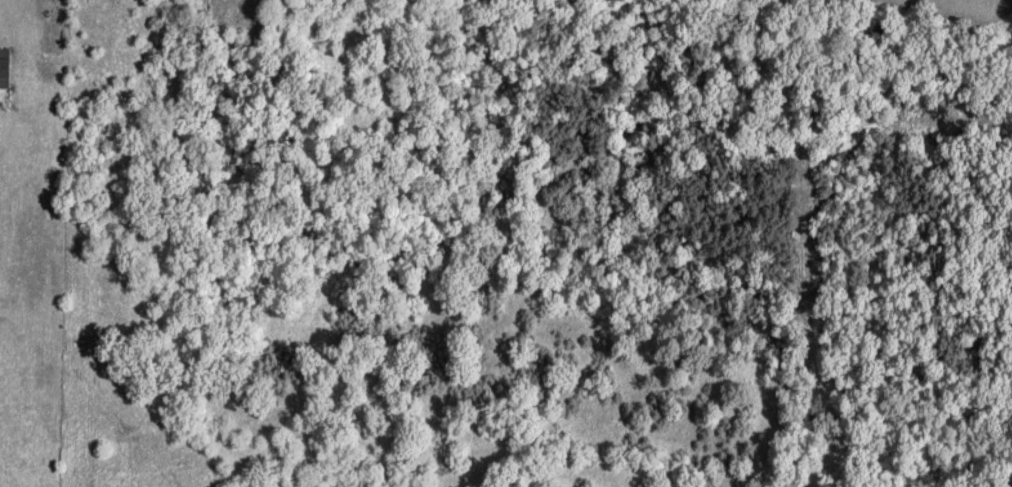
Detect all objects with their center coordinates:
building: (6, 67)

